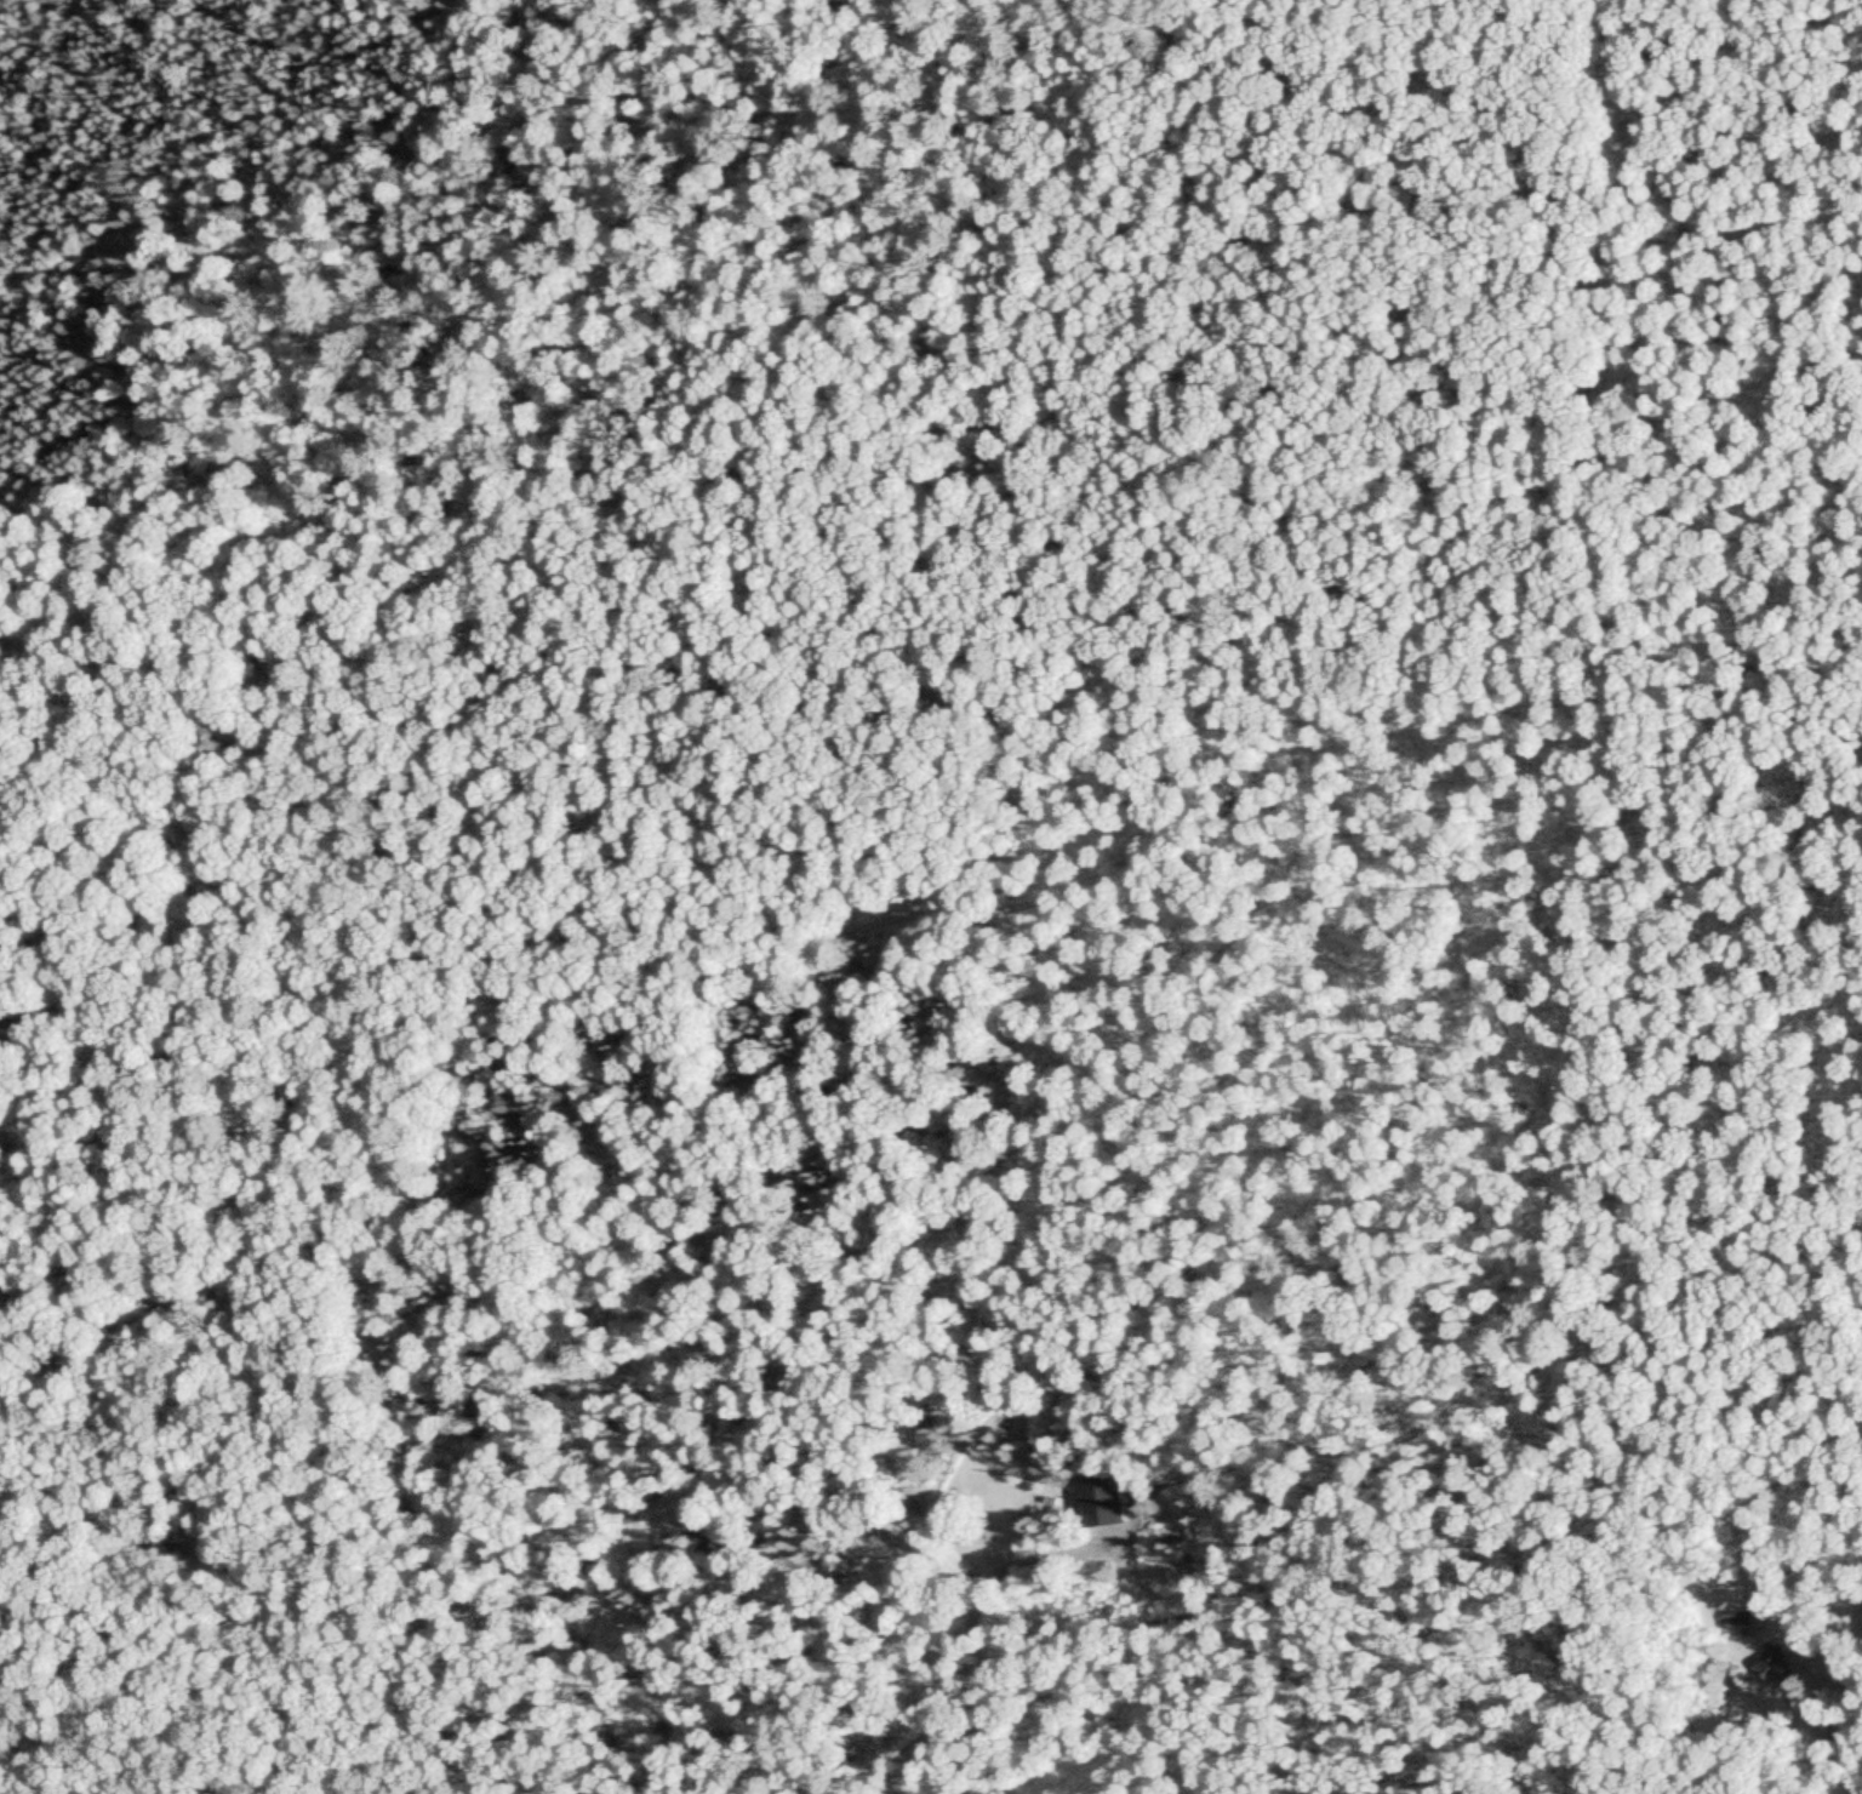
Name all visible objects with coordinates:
building: (1018, 1527)
building: (1861, 1621)
building: (1770, 1661)

